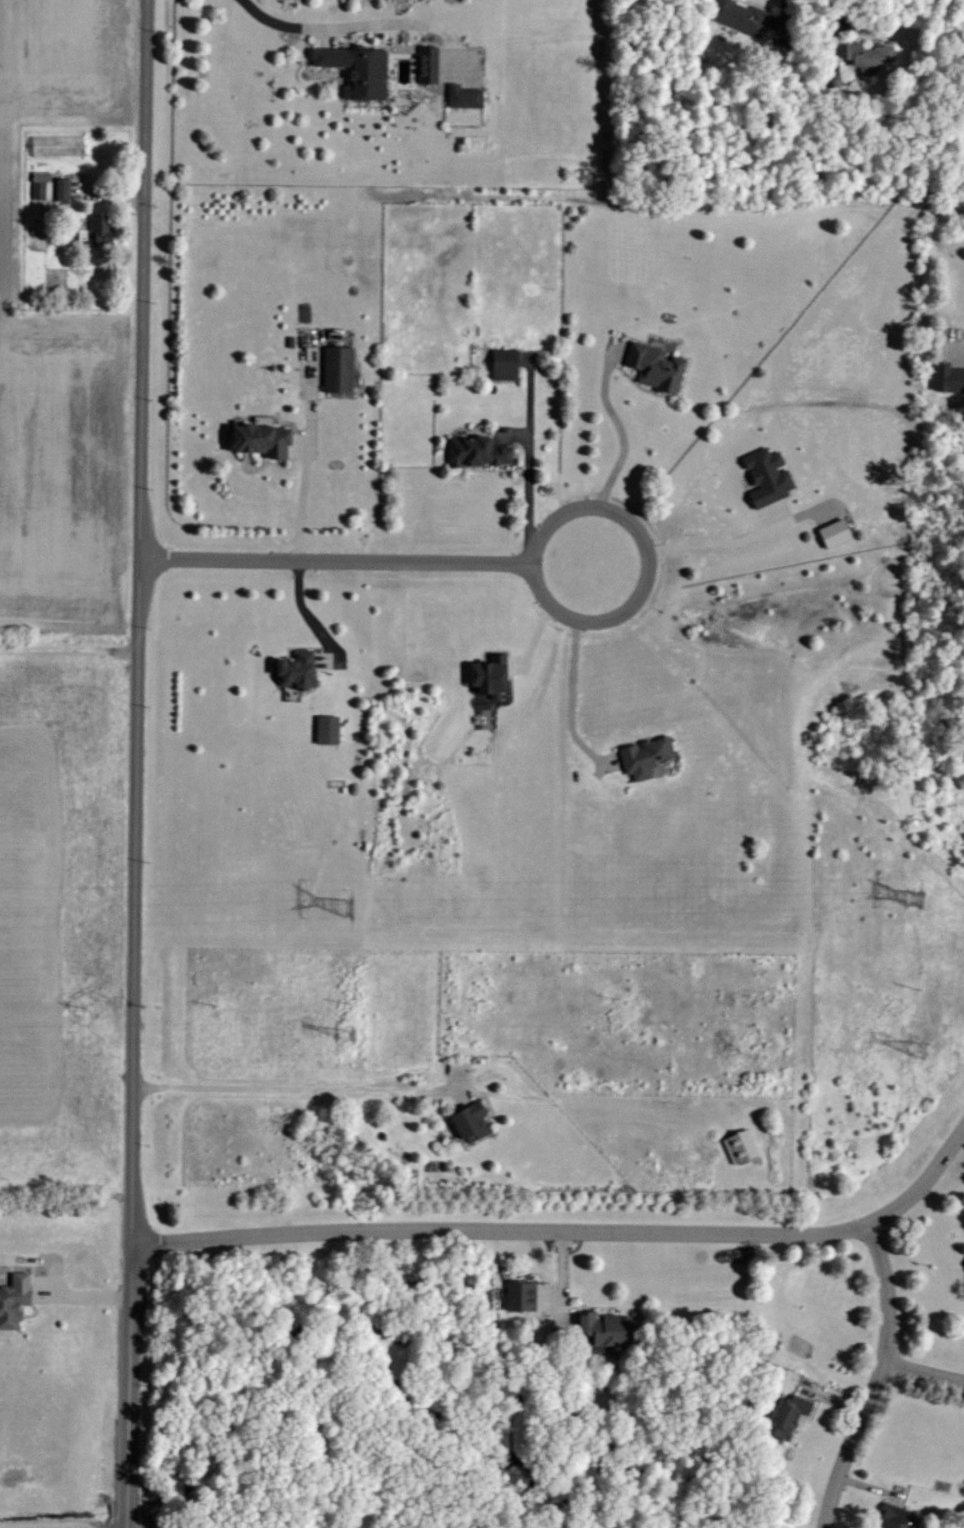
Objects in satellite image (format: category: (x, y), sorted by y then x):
building: (738, 15)
road: (846, 16)
road: (355, 26)
building: (864, 55)
building: (423, 63)
building: (353, 68)
building: (461, 95)
building: (54, 145)
building: (39, 184)
building: (59, 187)
building: (95, 228)
building: (501, 363)
building: (651, 365)
building: (335, 367)
building: (946, 376)
building: (256, 438)
building: (474, 450)
road: (529, 460)
road: (617, 462)
building: (763, 475)
road: (305, 483)
building: (830, 532)
road: (694, 541)
road: (367, 563)
road: (305, 615)
road: (69, 646)
road: (572, 665)
building: (290, 668)
building: (484, 675)
building: (324, 728)
building: (642, 755)
road: (137, 763)
power tower: (914, 899)
power tower: (352, 909)
power tower: (352, 1035)
power tower: (920, 1050)
road: (290, 1086)
building: (466, 1121)
building: (737, 1145)
road: (568, 1232)
road: (63, 1289)
building: (517, 1295)
building: (12, 1298)
building: (600, 1328)
road: (923, 1374)
road: (882, 1375)
building: (782, 1414)
road: (762, 1427)
road: (849, 1445)
building: (891, 1518)

